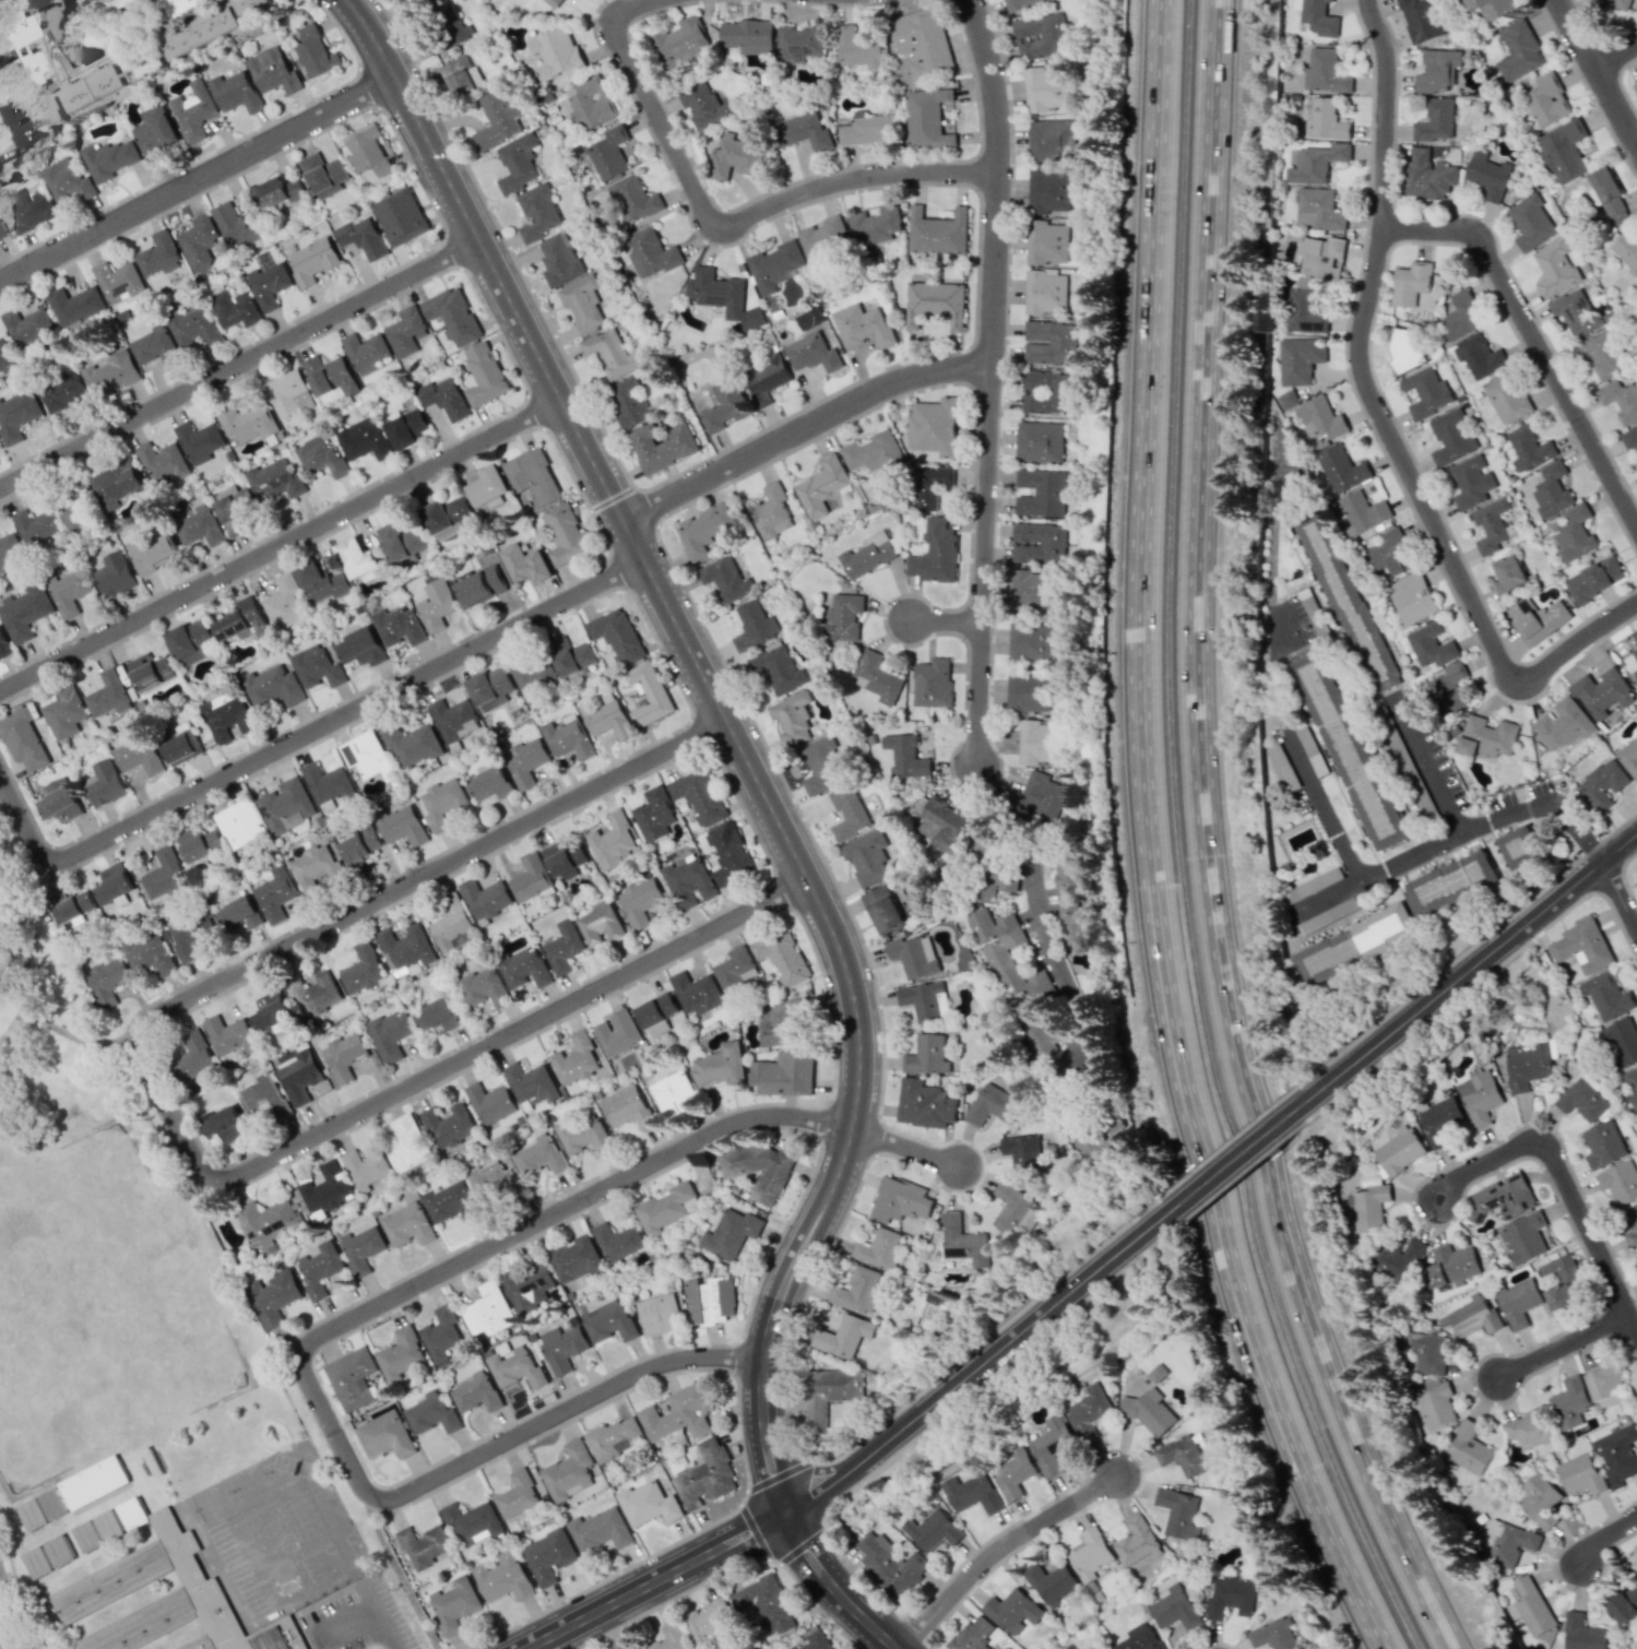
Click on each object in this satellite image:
road: (31, 1)
building: (553, 2)
building: (119, 3)
building: (1614, 3)
building: (1020, 4)
building: (250, 5)
building: (180, 7)
building: (1491, 8)
building: (1314, 16)
building: (443, 20)
building: (1419, 20)
building: (49, 21)
building: (201, 32)
building: (748, 36)
building: (1040, 36)
building: (680, 43)
building: (799, 43)
building: (922, 43)
building: (857, 49)
building: (1518, 51)
building: (315, 52)
building: (555, 52)
road: (1615, 60)
building: (144, 63)
building: (273, 71)
building: (1437, 71)
building: (1324, 72)
road: (1596, 74)
building: (461, 76)
building: (92, 87)
building: (1044, 87)
building: (1635, 87)
building: (236, 92)
building: (588, 104)
building: (44, 106)
building: (704, 106)
building: (194, 110)
building: (927, 118)
building: (497, 119)
building: (1322, 119)
building: (1435, 120)
road: (10, 129)
building: (155, 130)
building: (867, 130)
building: (802, 131)
building: (1051, 140)
building: (1563, 151)
building: (367, 152)
building: (608, 153)
building: (108, 158)
building: (518, 163)
building: (1315, 163)
building: (1486, 174)
building: (323, 175)
building: (1426, 176)
road: (200, 179)
building: (66, 180)
building: (277, 192)
building: (1051, 192)
building: (1609, 195)
building: (633, 198)
building: (27, 209)
building: (1317, 209)
building: (537, 212)
building: (400, 216)
building: (1531, 222)
building: (236, 225)
building: (874, 226)
building: (937, 232)
building: (0, 234)
road: (719, 234)
building: (361, 237)
building: (199, 241)
building: (1046, 242)
building: (1626, 249)
building: (649, 252)
building: (158, 254)
building: (1320, 257)
building: (558, 260)
building: (312, 261)
building: (773, 265)
building: (1555, 269)
building: (118, 282)
building: (1410, 283)
building: (269, 284)
building: (1044, 293)
building: (722, 296)
building: (582, 302)
building: (934, 304)
building: (75, 306)
building: (234, 308)
building: (1304, 309)
building: (1576, 312)
building: (452, 315)
building: (1460, 316)
building: (809, 318)
building: (862, 325)
building: (27, 327)
building: (193, 327)
building: (406, 331)
road: (1534, 340)
building: (1049, 343)
building: (155, 347)
building: (365, 352)
building: (612, 353)
building: (811, 353)
building: (1600, 355)
building: (1478, 356)
building: (5, 357)
building: (1298, 359)
road: (241, 365)
building: (111, 373)
building: (483, 375)
building: (330, 379)
building: (766, 379)
road: (992, 381)
building: (285, 392)
building: (1046, 392)
building: (1426, 392)
building: (63, 393)
building: (446, 398)
building: (1286, 399)
building: (1621, 399)
building: (1506, 400)
building: (630, 403)
building: (723, 405)
building: (17, 414)
building: (1319, 418)
building: (248, 422)
road: (1384, 423)
building: (934, 426)
road: (804, 427)
building: (406, 429)
building: (1451, 437)
building: (363, 439)
building: (199, 441)
building: (1037, 441)
building: (1632, 442)
building: (661, 446)
building: (1529, 449)
building: (874, 453)
building: (320, 456)
building: (164, 461)
building: (1340, 468)
building: (533, 476)
building: (275, 481)
building: (1470, 482)
building: (117, 483)
building: (821, 486)
building: (927, 486)
building: (488, 487)
building: (1551, 489)
building: (1040, 493)
building: (234, 507)
building: (1360, 512)
building: (771, 513)
building: (70, 517)
building: (447, 517)
building: (1491, 525)
building: (36, 527)
building: (199, 527)
building: (703, 530)
building: (565, 533)
building: (1574, 533)
building: (1036, 543)
building: (401, 544)
road: (282, 546)
building: (10, 551)
building: (154, 551)
building: (935, 553)
building: (1388, 553)
building: (869, 554)
building: (358, 560)
building: (524, 563)
building: (1509, 573)
building: (115, 574)
building: (725, 579)
building: (1594, 579)
building: (321, 581)
building: (479, 586)
building: (68, 591)
building: (1411, 597)
building: (284, 603)
building: (1345, 603)
building: (436, 605)
building: (24, 612)
building: (842, 616)
building: (1538, 618)
building: (244, 621)
road: (948, 621)
building: (399, 626)
building: (754, 626)
building: (1635, 634)
building: (617, 636)
building: (191, 641)
building: (1029, 643)
building: (3, 645)
building: (1430, 645)
building: (360, 648)
building: (1635, 654)
building: (571, 657)
building: (317, 667)
building: (776, 668)
building: (150, 671)
building: (1635, 674)
building: (534, 677)
building: (875, 677)
building: (932, 683)
building: (273, 686)
building: (490, 688)
building: (1449, 688)
building: (1025, 692)
building: (1602, 692)
building: (649, 693)
building: (108, 696)
building: (64, 713)
building: (226, 715)
building: (606, 717)
building: (792, 717)
building: (453, 719)
building: (1563, 724)
building: (1636, 728)
road: (305, 737)
building: (568, 737)
road: (731, 737)
building: (1486, 737)
building: (22, 739)
building: (1035, 742)
building: (412, 744)
building: (181, 748)
road: (1294, 751)
building: (1350, 751)
building: (139, 756)
building: (366, 756)
building: (904, 756)
building: (1628, 757)
building: (526, 761)
building: (822, 764)
building: (1282, 766)
road: (1426, 768)
building: (104, 783)
building: (490, 783)
building: (329, 784)
building: (1602, 784)
building: (699, 795)
building: (1041, 795)
building: (442, 802)
building: (59, 805)
building: (286, 806)
building: (847, 812)
building: (654, 814)
building: (239, 823)
building: (939, 823)
building: (402, 826)
road: (1459, 837)
building: (612, 841)
building: (199, 843)
building: (981, 843)
road: (1155, 843)
road: (1208, 845)
building: (360, 846)
building: (1519, 847)
building: (728, 852)
building: (565, 857)
building: (867, 857)
building: (316, 866)
building: (164, 875)
building: (530, 877)
building: (689, 881)
road: (1028, 881)
building: (1451, 881)
building: (993, 885)
building: (1310, 886)
road: (1622, 893)
building: (275, 894)
building: (485, 899)
building: (639, 901)
building: (1069, 902)
building: (72, 905)
building: (882, 909)
building: (238, 912)
building: (1326, 915)
building: (601, 924)
building: (1379, 926)
building: (192, 935)
building: (1581, 945)
building: (562, 947)
building: (406, 948)
building: (149, 954)
building: (913, 956)
building: (781, 957)
building: (1325, 957)
road: (1476, 965)
road: (25, 968)
building: (361, 969)
building: (524, 969)
building: (735, 970)
building: (1015, 975)
building: (107, 980)
building: (484, 987)
building: (696, 993)
building: (313, 994)
building: (1606, 995)
building: (924, 1000)
building: (270, 1011)
building: (656, 1013)
building: (436, 1017)
building: (779, 1022)
road: (62, 1031)
building: (617, 1033)
building: (389, 1034)
building: (229, 1035)
building: (1621, 1041)
building: (926, 1055)
building: (343, 1056)
building: (193, 1058)
building: (576, 1059)
building: (719, 1066)
building: (1527, 1066)
building: (783, 1073)
building: (299, 1076)
building: (531, 1083)
building: (1630, 1084)
park: (62, 1091)
building: (673, 1094)
building: (263, 1095)
building: (1478, 1098)
building: (1580, 1098)
building: (490, 1103)
building: (924, 1104)
building: (995, 1104)
building: (626, 1107)
road: (173, 1112)
building: (1438, 1122)
building: (224, 1124)
building: (449, 1125)
building: (583, 1134)
building: (406, 1143)
building: (1603, 1144)
road: (909, 1148)
building: (1398, 1151)
building: (1021, 1152)
road: (1242, 1152)
building: (541, 1155)
building: (366, 1168)
building: (757, 1168)
road: (1562, 1179)
building: (494, 1182)
building: (1620, 1182)
building: (323, 1190)
building: (1502, 1198)
building: (899, 1200)
building: (450, 1202)
building: (1368, 1205)
building: (664, 1208)
building: (1013, 1210)
building: (268, 1222)
building: (407, 1224)
building: (1629, 1225)
building: (728, 1233)
building: (1522, 1238)
building: (618, 1242)
building: (962, 1242)
building: (361, 1248)
building: (877, 1249)
building: (574, 1259)
building: (1396, 1260)
building: (1450, 1266)
building: (319, 1268)
building: (1562, 1282)
building: (529, 1285)
building: (855, 1290)
building: (272, 1297)
building: (709, 1301)
building: (1519, 1303)
building: (488, 1312)
building: (657, 1314)
building: (1471, 1316)
building: (609, 1321)
building: (442, 1336)
building: (842, 1336)
road: (316, 1340)
road: (1563, 1349)
building: (1423, 1352)
building: (401, 1354)
road: (975, 1362)
building: (517, 1368)
building: (1156, 1373)
building: (351, 1378)
building: (1606, 1384)
building: (476, 1392)
building: (827, 1396)
building: (1568, 1403)
building: (1434, 1404)
building: (1087, 1411)
building: (431, 1412)
building: (678, 1413)
building: (1150, 1413)
building: (1529, 1428)
building: (384, 1435)
building: (614, 1438)
building: (1037, 1446)
building: (1467, 1449)
building: (1616, 1455)
building: (1182, 1456)
building: (568, 1471)
building: (1012, 1473)
building: (1580, 1474)
building: (705, 1475)
building: (94, 1482)
building: (971, 1493)
building: (517, 1495)
building: (1539, 1499)
building: (51, 1504)
building: (648, 1504)
building: (132, 1512)
building: (1178, 1512)
building: (472, 1522)
building: (600, 1530)
building: (933, 1530)
building: (97, 1531)
road: (1605, 1538)
building: (1136, 1541)
building: (423, 1545)
road: (1001, 1549)
building: (58, 1551)
building: (1090, 1554)
building: (548, 1556)
building: (1633, 1557)
building: (890, 1565)
building: (502, 1578)
road: (655, 1580)
building: (1051, 1582)
road: (835, 1585)
building: (1230, 1598)
building: (166, 1600)
building: (766, 1603)
building: (454, 1604)
building: (1624, 1604)
building: (1174, 1608)
building: (1530, 1608)
road: (364, 1609)
building: (1012, 1611)
road: (11, 1613)
building: (710, 1623)
road: (4, 1633)
building: (1582, 1633)
building: (972, 1634)
building: (1273, 1634)
building: (671, 1638)
building: (1139, 1638)
building: (816, 1640)
building: (628, 1647)
building: (1001, 1648)
building: (1104, 1648)

